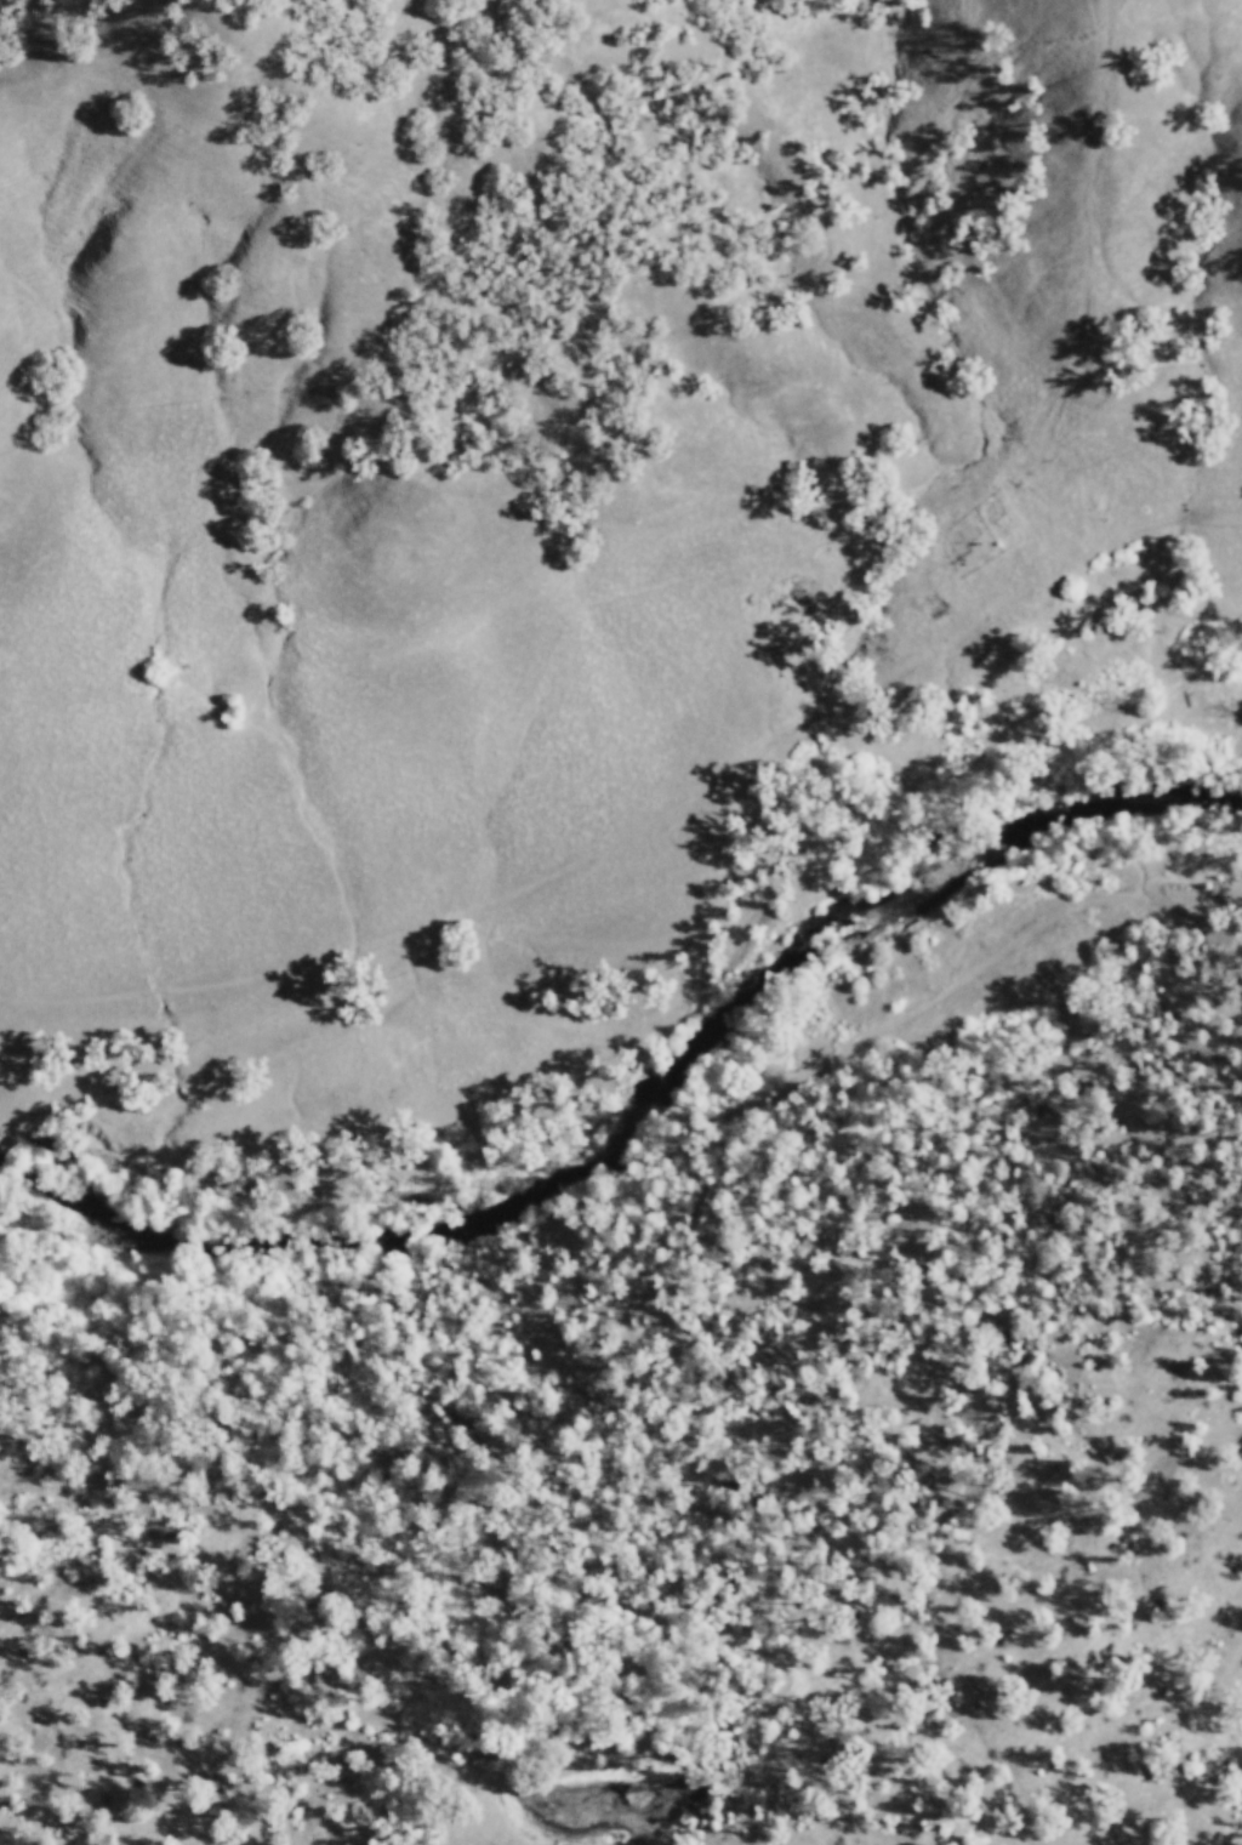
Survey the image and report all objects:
road: (940, 990)
road: (534, 1024)
river: (644, 1106)

